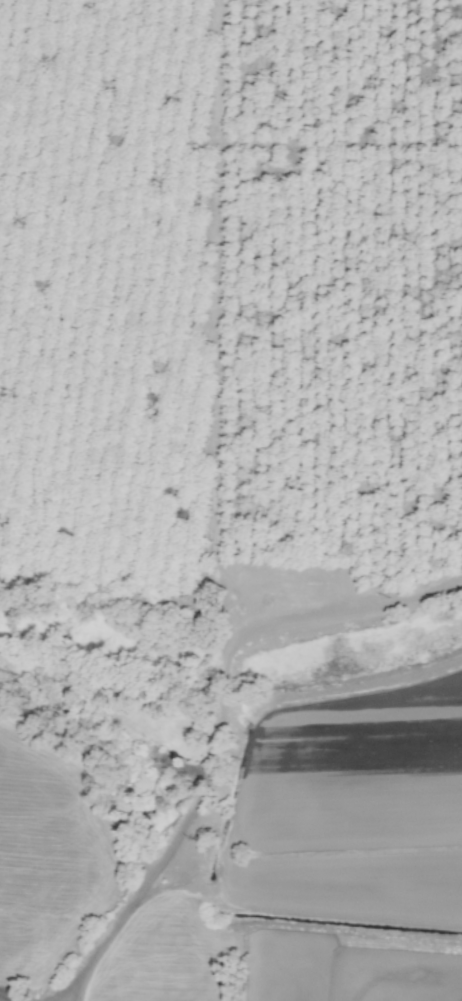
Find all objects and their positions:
road: (141, 884)
road: (57, 990)
road: (9, 997)

